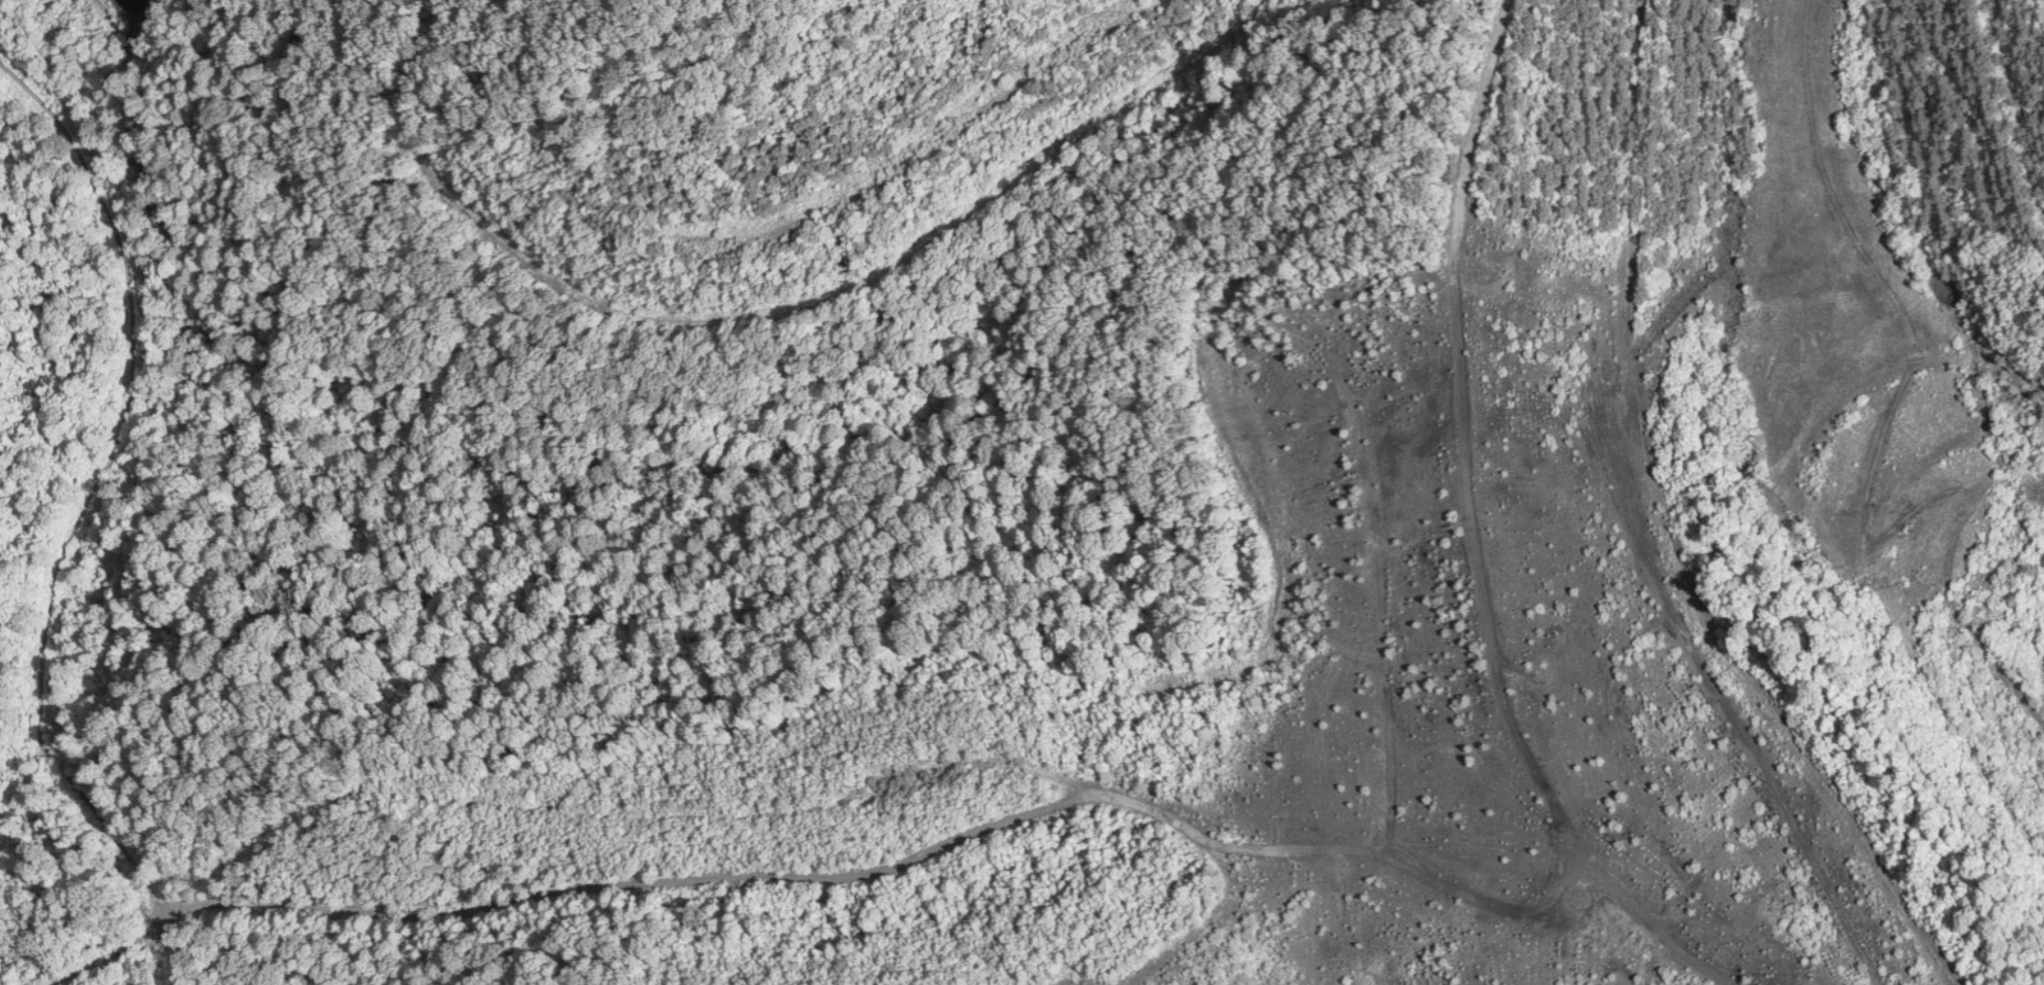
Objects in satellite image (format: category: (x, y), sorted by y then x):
quarry: (1022, 492)

